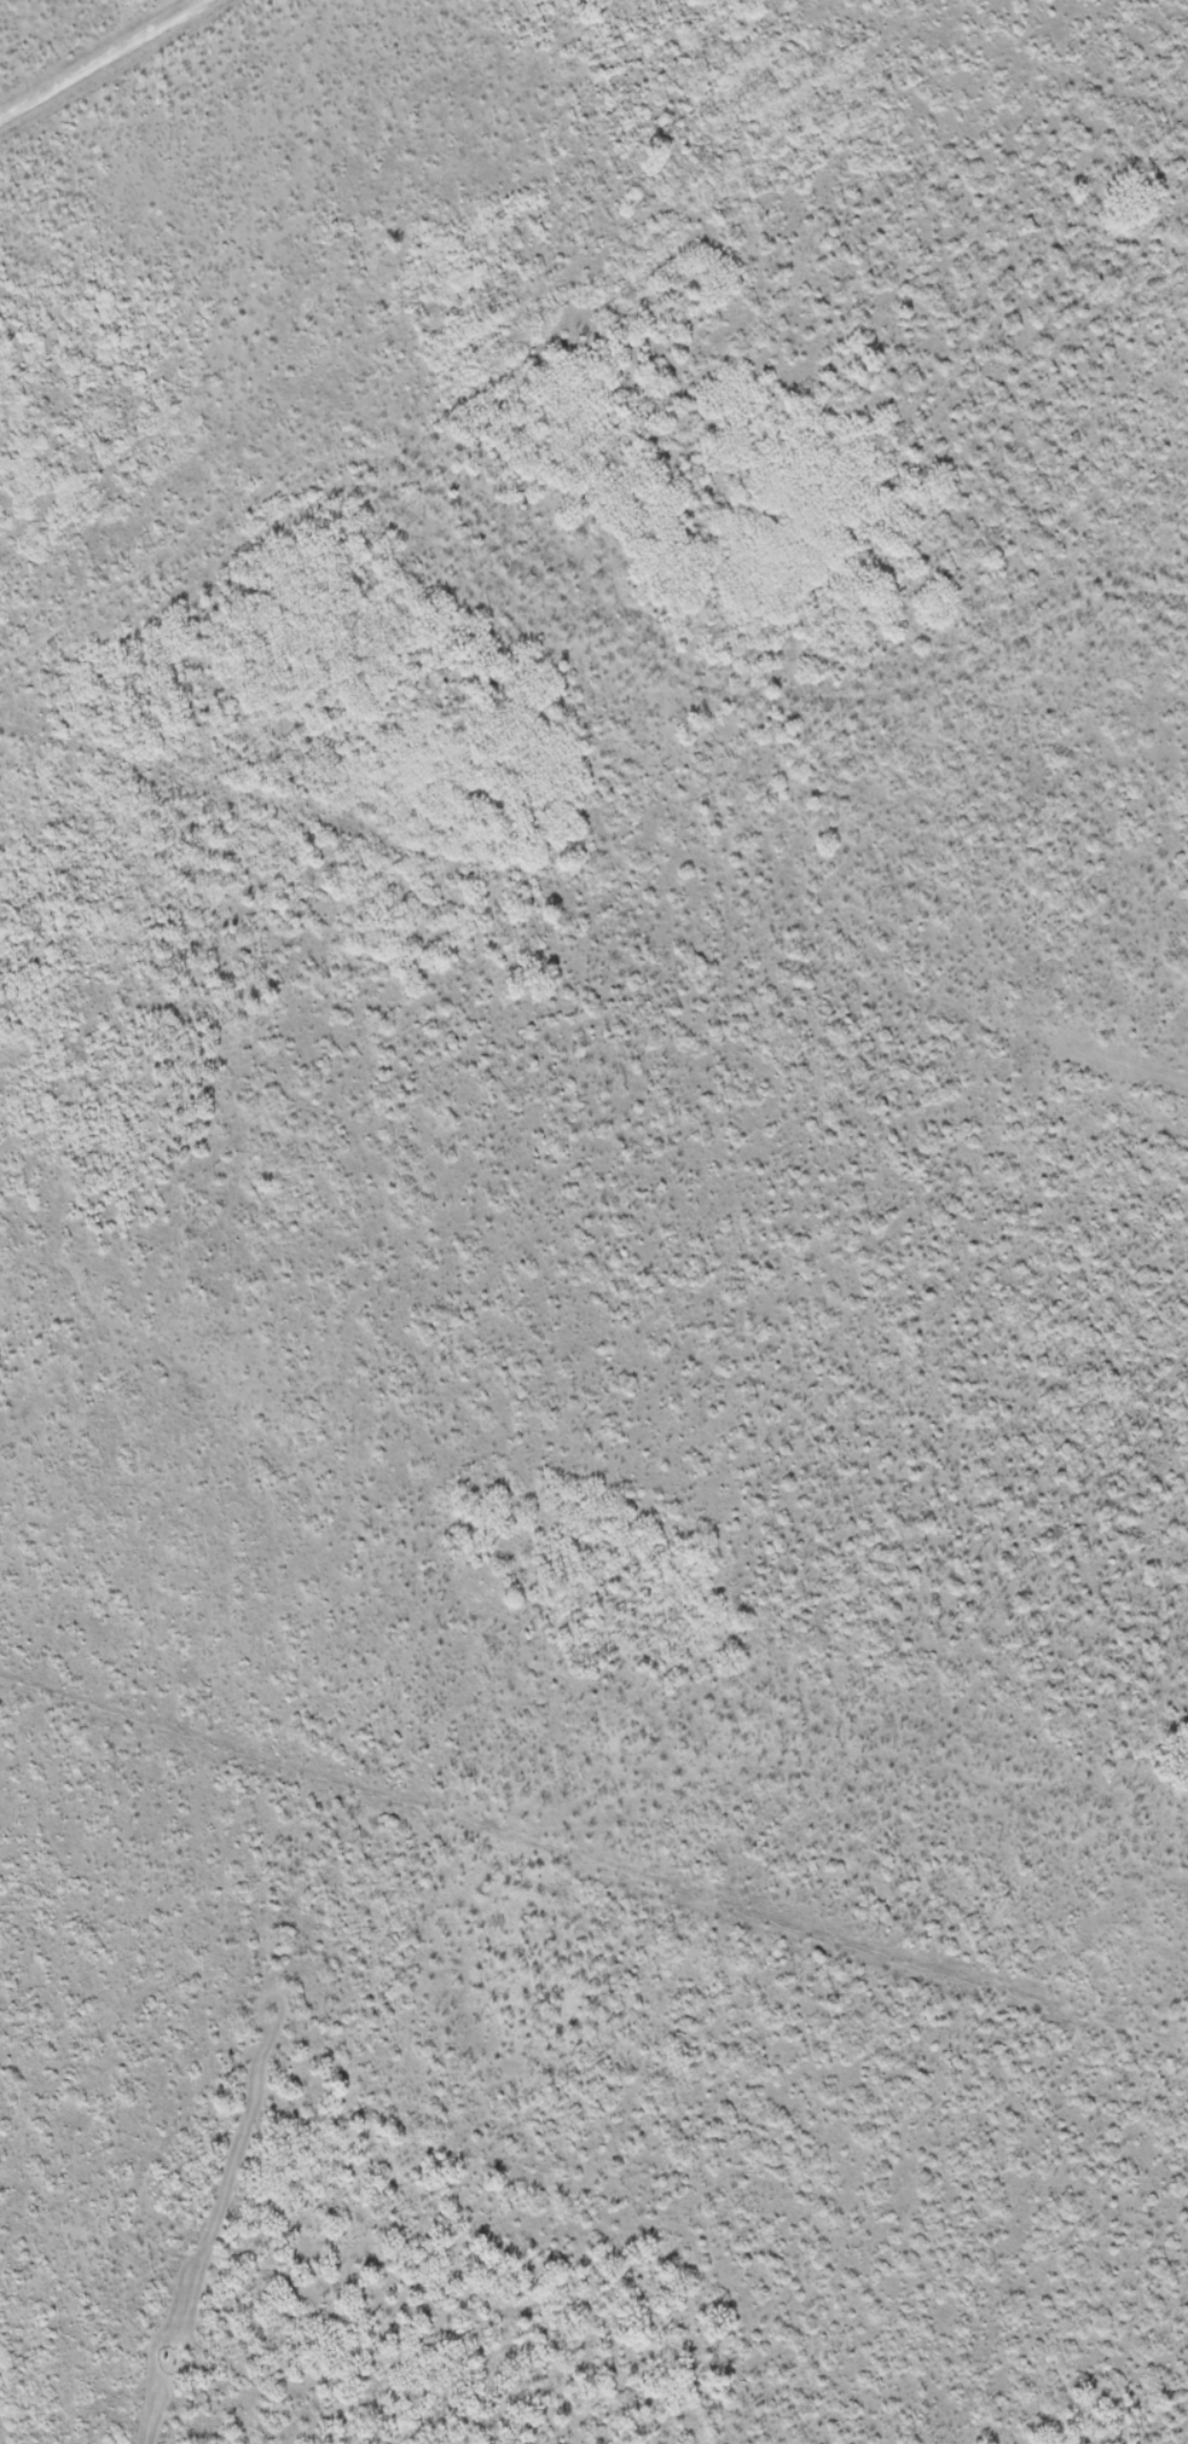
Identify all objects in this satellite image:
road: (114, 68)

